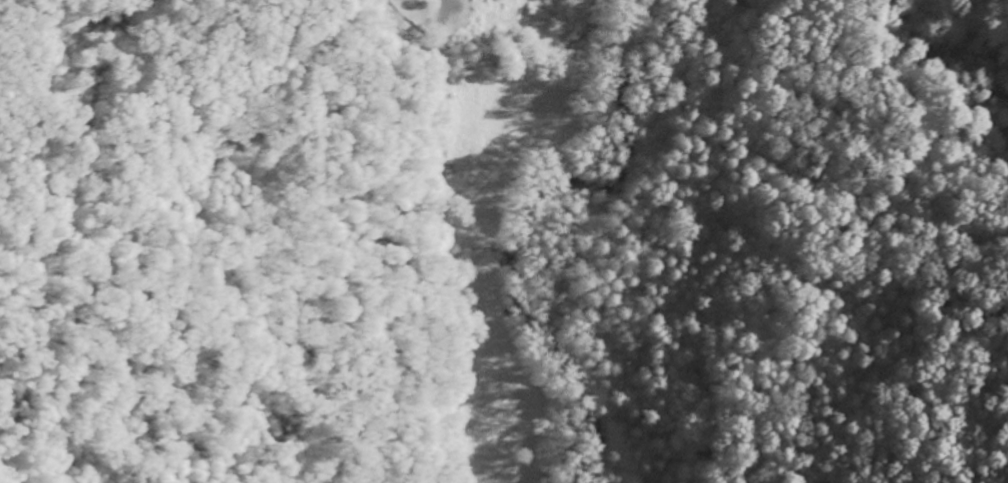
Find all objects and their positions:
road: (451, 241)

